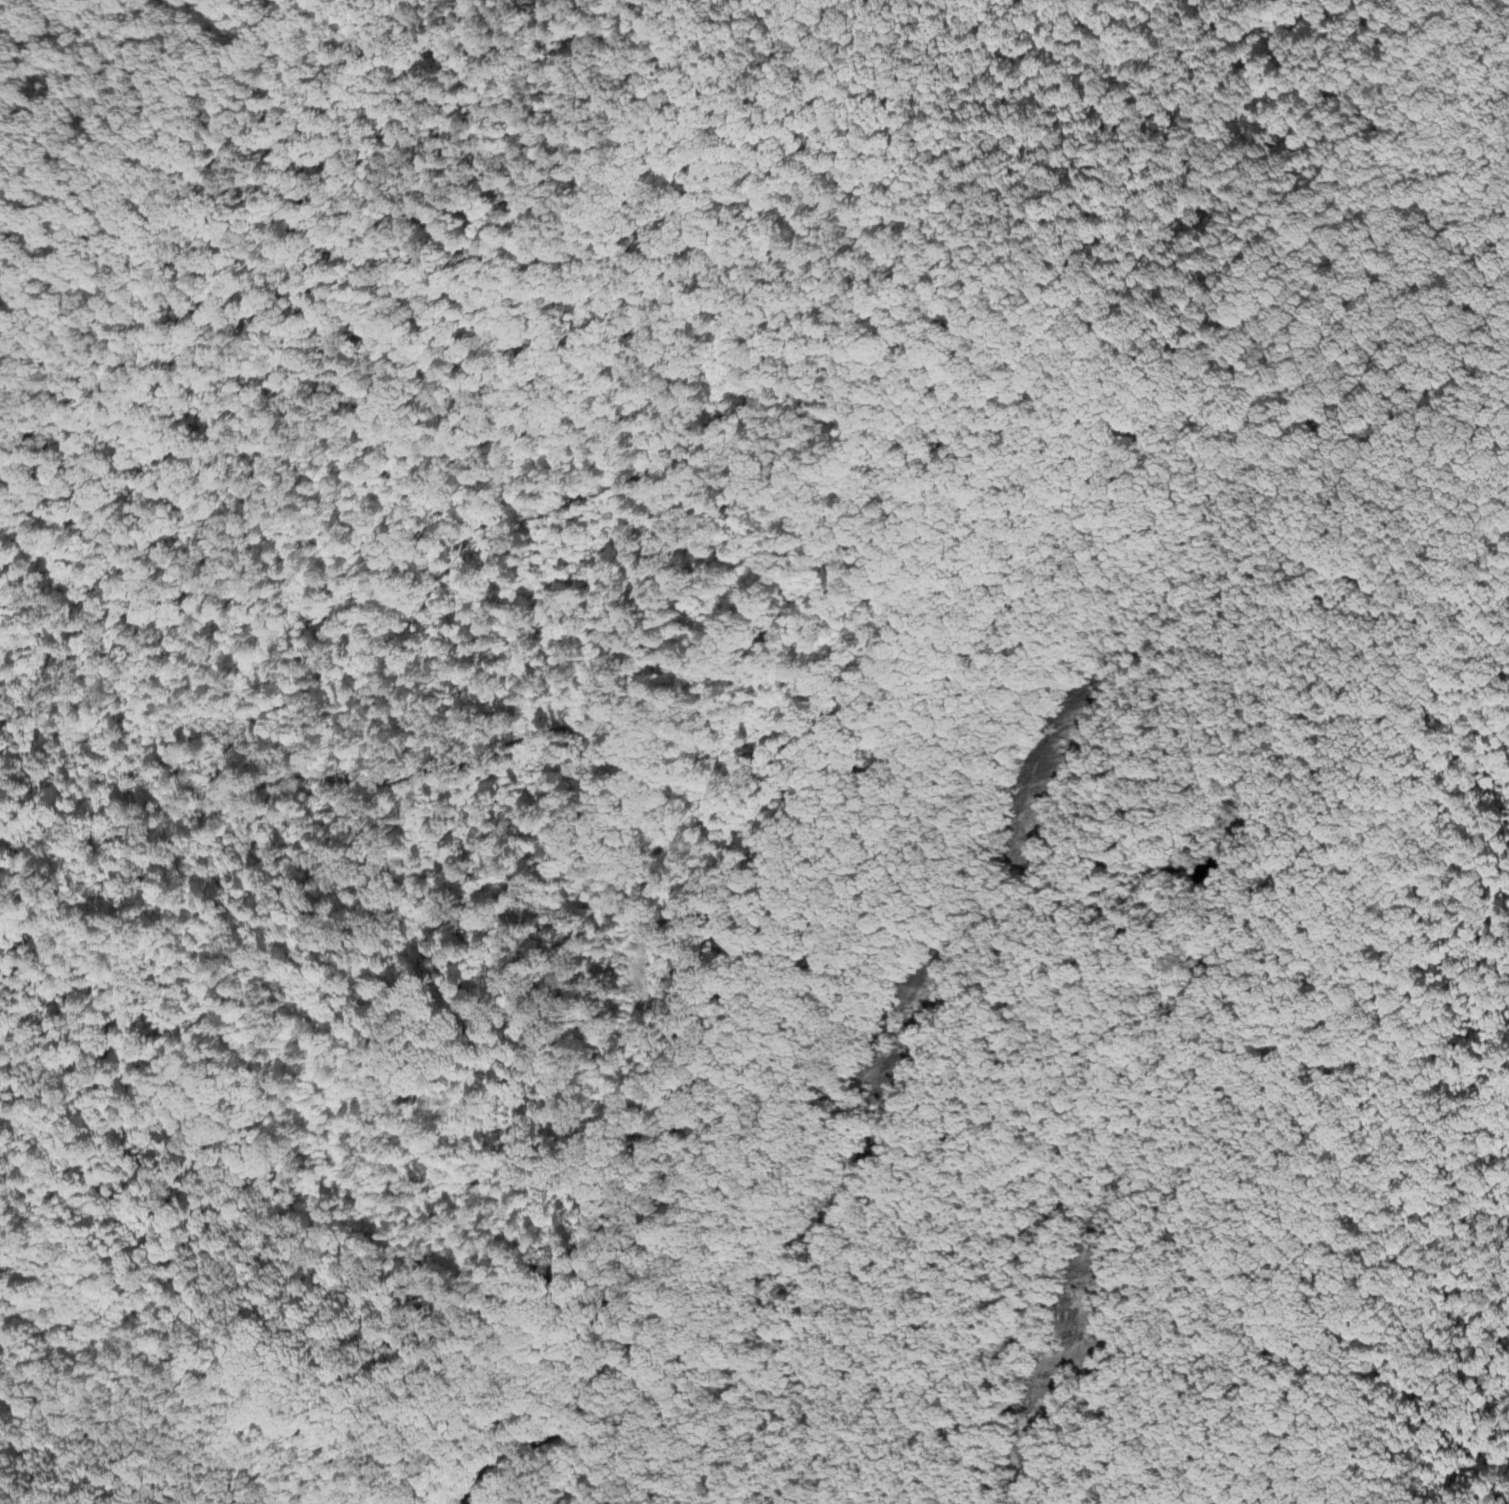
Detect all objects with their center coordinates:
road: (552, 1436)

